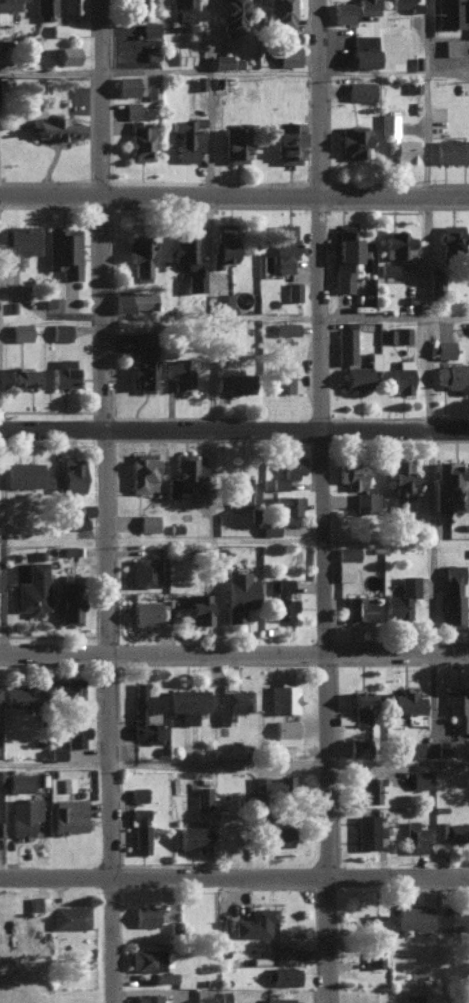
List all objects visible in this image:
building: (8, 4)
building: (408, 4)
building: (72, 6)
building: (367, 6)
building: (44, 9)
building: (136, 9)
building: (185, 10)
building: (342, 11)
building: (282, 12)
building: (449, 13)
building: (232, 15)
building: (150, 27)
building: (450, 45)
building: (363, 49)
building: (184, 53)
building: (66, 54)
building: (288, 55)
building: (225, 61)
road: (234, 73)
building: (129, 85)
building: (460, 86)
building: (152, 90)
building: (360, 90)
road: (4, 96)
road: (112, 96)
road: (325, 96)
building: (131, 109)
building: (56, 127)
building: (187, 138)
building: (396, 139)
building: (354, 140)
building: (287, 141)
building: (141, 142)
building: (235, 142)
building: (451, 150)
road: (234, 192)
road: (205, 214)
building: (450, 234)
building: (19, 242)
building: (222, 243)
building: (396, 243)
building: (284, 246)
building: (63, 250)
building: (140, 256)
building: (344, 256)
building: (188, 262)
building: (387, 268)
building: (435, 284)
building: (293, 290)
building: (134, 300)
building: (222, 301)
road: (3, 309)
road: (392, 316)
building: (286, 328)
building: (20, 331)
building: (60, 331)
building: (402, 333)
building: (386, 334)
building: (345, 343)
building: (443, 348)
building: (373, 359)
building: (144, 360)
building: (178, 371)
building: (63, 372)
building: (21, 376)
building: (356, 376)
building: (401, 376)
building: (453, 376)
building: (282, 378)
building: (233, 382)
road: (426, 382)
road: (234, 429)
building: (289, 469)
building: (143, 471)
building: (351, 471)
building: (23, 473)
building: (185, 473)
building: (68, 476)
building: (401, 479)
building: (448, 484)
building: (240, 490)
building: (367, 502)
building: (287, 504)
building: (417, 504)
building: (83, 515)
building: (147, 522)
building: (269, 528)
road: (267, 538)
road: (1, 539)
road: (213, 541)
building: (346, 562)
building: (143, 571)
building: (33, 589)
building: (239, 593)
building: (452, 596)
building: (281, 597)
road: (322, 597)
road: (105, 598)
building: (401, 598)
building: (69, 602)
building: (198, 607)
building: (359, 608)
building: (144, 612)
road: (234, 655)
building: (65, 688)
building: (17, 695)
building: (283, 695)
building: (407, 700)
building: (187, 702)
building: (232, 702)
building: (361, 706)
building: (458, 707)
building: (137, 715)
building: (285, 731)
building: (72, 732)
building: (444, 745)
building: (359, 746)
building: (411, 748)
building: (55, 753)
road: (234, 765)
building: (1, 776)
building: (419, 778)
building: (19, 780)
building: (272, 782)
building: (370, 786)
building: (137, 792)
building: (202, 795)
building: (69, 814)
building: (21, 815)
building: (438, 827)
building: (140, 828)
building: (367, 828)
building: (458, 830)
building: (278, 834)
building: (193, 836)
building: (413, 836)
road: (234, 877)
building: (38, 901)
building: (145, 914)
building: (69, 915)
building: (413, 916)
building: (454, 917)
building: (255, 921)
building: (375, 934)
building: (146, 958)
building: (283, 974)
building: (165, 975)
building: (147, 997)
building: (412, 997)
building: (202, 999)
building: (278, 999)

